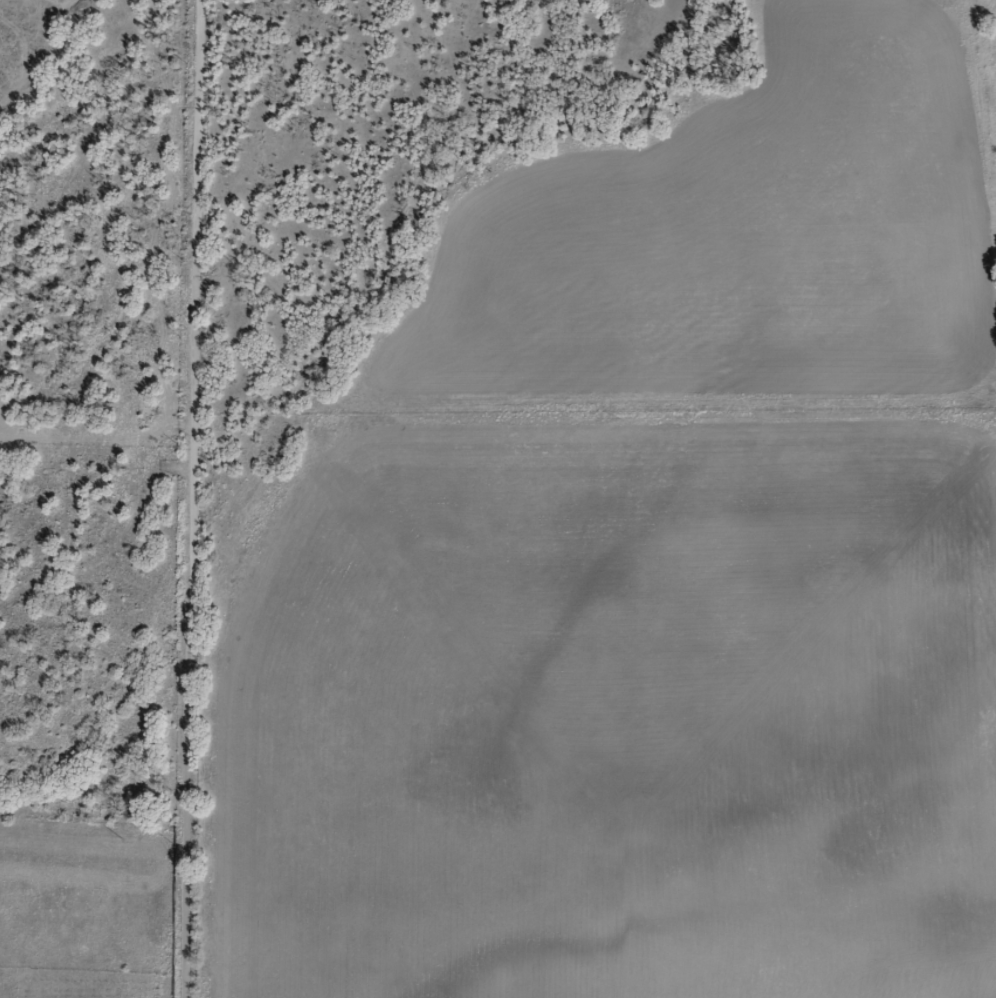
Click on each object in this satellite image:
road: (189, 498)

